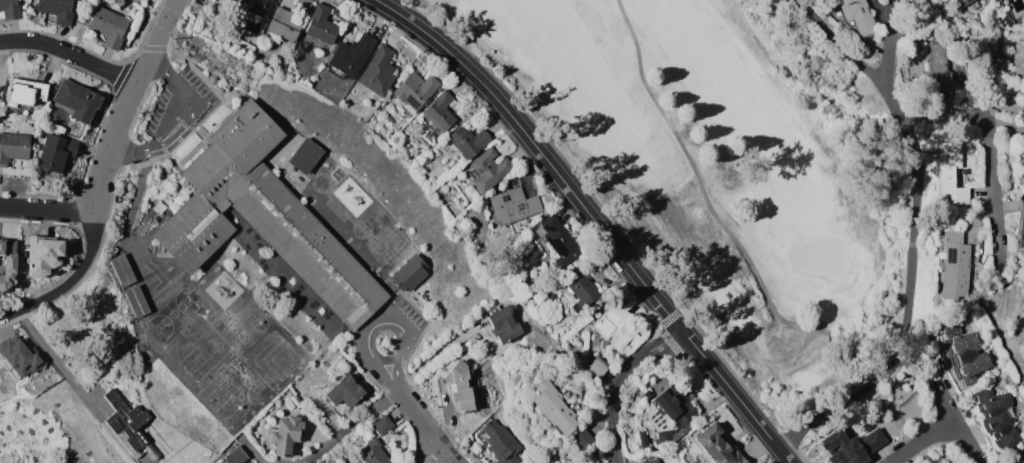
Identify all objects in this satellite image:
building: (233, 0)
building: (234, 0)
building: (974, 4)
building: (303, 5)
building: (256, 6)
building: (10, 9)
building: (57, 10)
building: (197, 11)
building: (858, 17)
building: (285, 24)
building: (321, 25)
building: (108, 26)
road: (899, 41)
road: (69, 54)
building: (349, 56)
building: (378, 71)
building: (939, 71)
road: (178, 87)
building: (415, 91)
building: (25, 92)
building: (76, 100)
road: (126, 103)
parking lot: (179, 108)
building: (437, 114)
road: (171, 131)
building: (468, 141)
road: (990, 143)
building: (13, 147)
road: (134, 153)
building: (54, 154)
building: (305, 155)
building: (1021, 167)
building: (488, 169)
park: (724, 169)
building: (951, 173)
park: (321, 182)
building: (513, 205)
road: (48, 209)
track: (337, 209)
building: (263, 217)
road: (593, 220)
building: (1021, 224)
park: (361, 228)
park: (361, 229)
park: (390, 231)
road: (912, 236)
building: (557, 240)
park: (376, 244)
park: (376, 244)
park: (399, 246)
road: (89, 253)
building: (41, 255)
park: (388, 257)
building: (7, 263)
building: (953, 265)
building: (121, 269)
building: (409, 273)
park: (149, 281)
building: (581, 292)
building: (552, 298)
building: (135, 300)
road: (32, 302)
track: (239, 313)
park: (172, 314)
park: (209, 316)
park: (258, 322)
road: (383, 323)
park: (139, 324)
building: (503, 324)
building: (616, 325)
park: (187, 326)
park: (140, 337)
park: (243, 337)
track: (211, 342)
park: (215, 344)
park: (196, 347)
park: (189, 351)
park: (223, 352)
building: (962, 357)
building: (20, 358)
park: (272, 359)
road: (385, 359)
road: (56, 360)
building: (596, 368)
park: (222, 371)
park: (244, 374)
park: (192, 378)
road: (618, 383)
park: (255, 386)
building: (458, 387)
park: (213, 394)
building: (343, 394)
park: (253, 397)
building: (297, 402)
park: (237, 407)
road: (415, 414)
building: (556, 414)
building: (670, 415)
building: (994, 419)
building: (128, 425)
building: (382, 425)
road: (354, 426)
building: (285, 435)
building: (643, 439)
road: (919, 440)
building: (499, 442)
building: (717, 445)
building: (850, 446)
building: (372, 453)
road: (430, 453)
road: (255, 454)
road: (447, 454)
building: (235, 456)
building: (653, 460)

